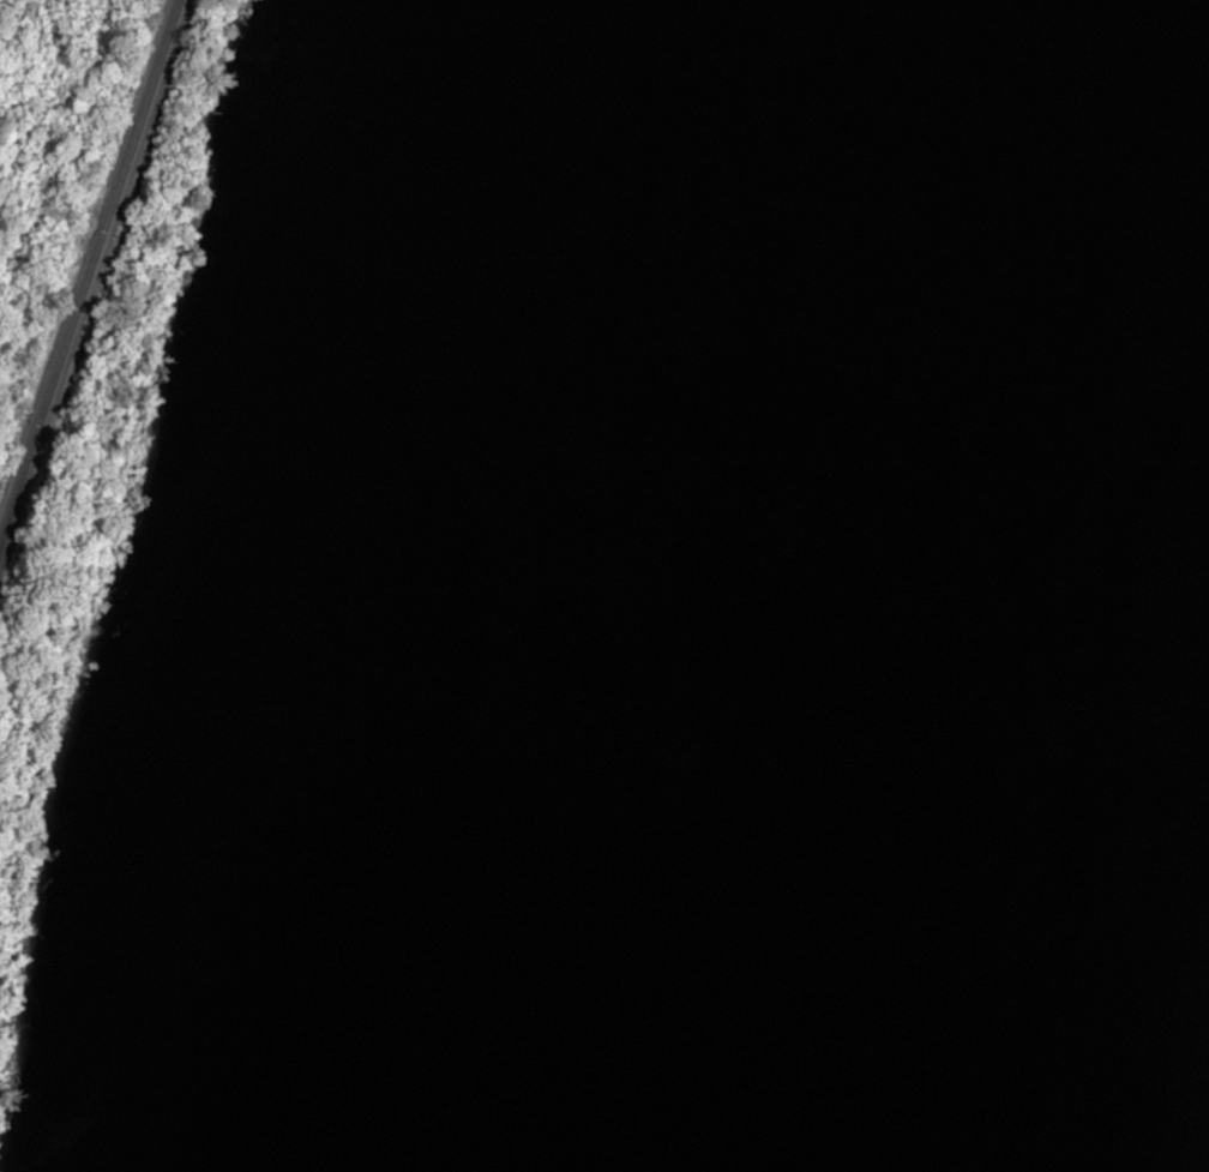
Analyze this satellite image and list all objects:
railway: (67, 191)
river: (693, 585)

